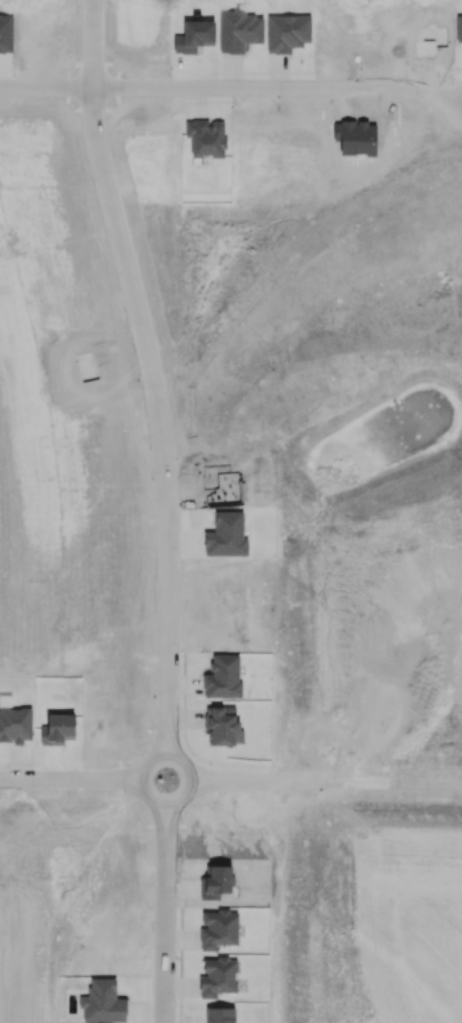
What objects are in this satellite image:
road: (231, 83)
road: (150, 360)
road: (172, 741)
road: (156, 742)
road: (167, 754)
road: (70, 773)
road: (326, 778)
road: (171, 818)
road: (157, 819)
road: (163, 929)

